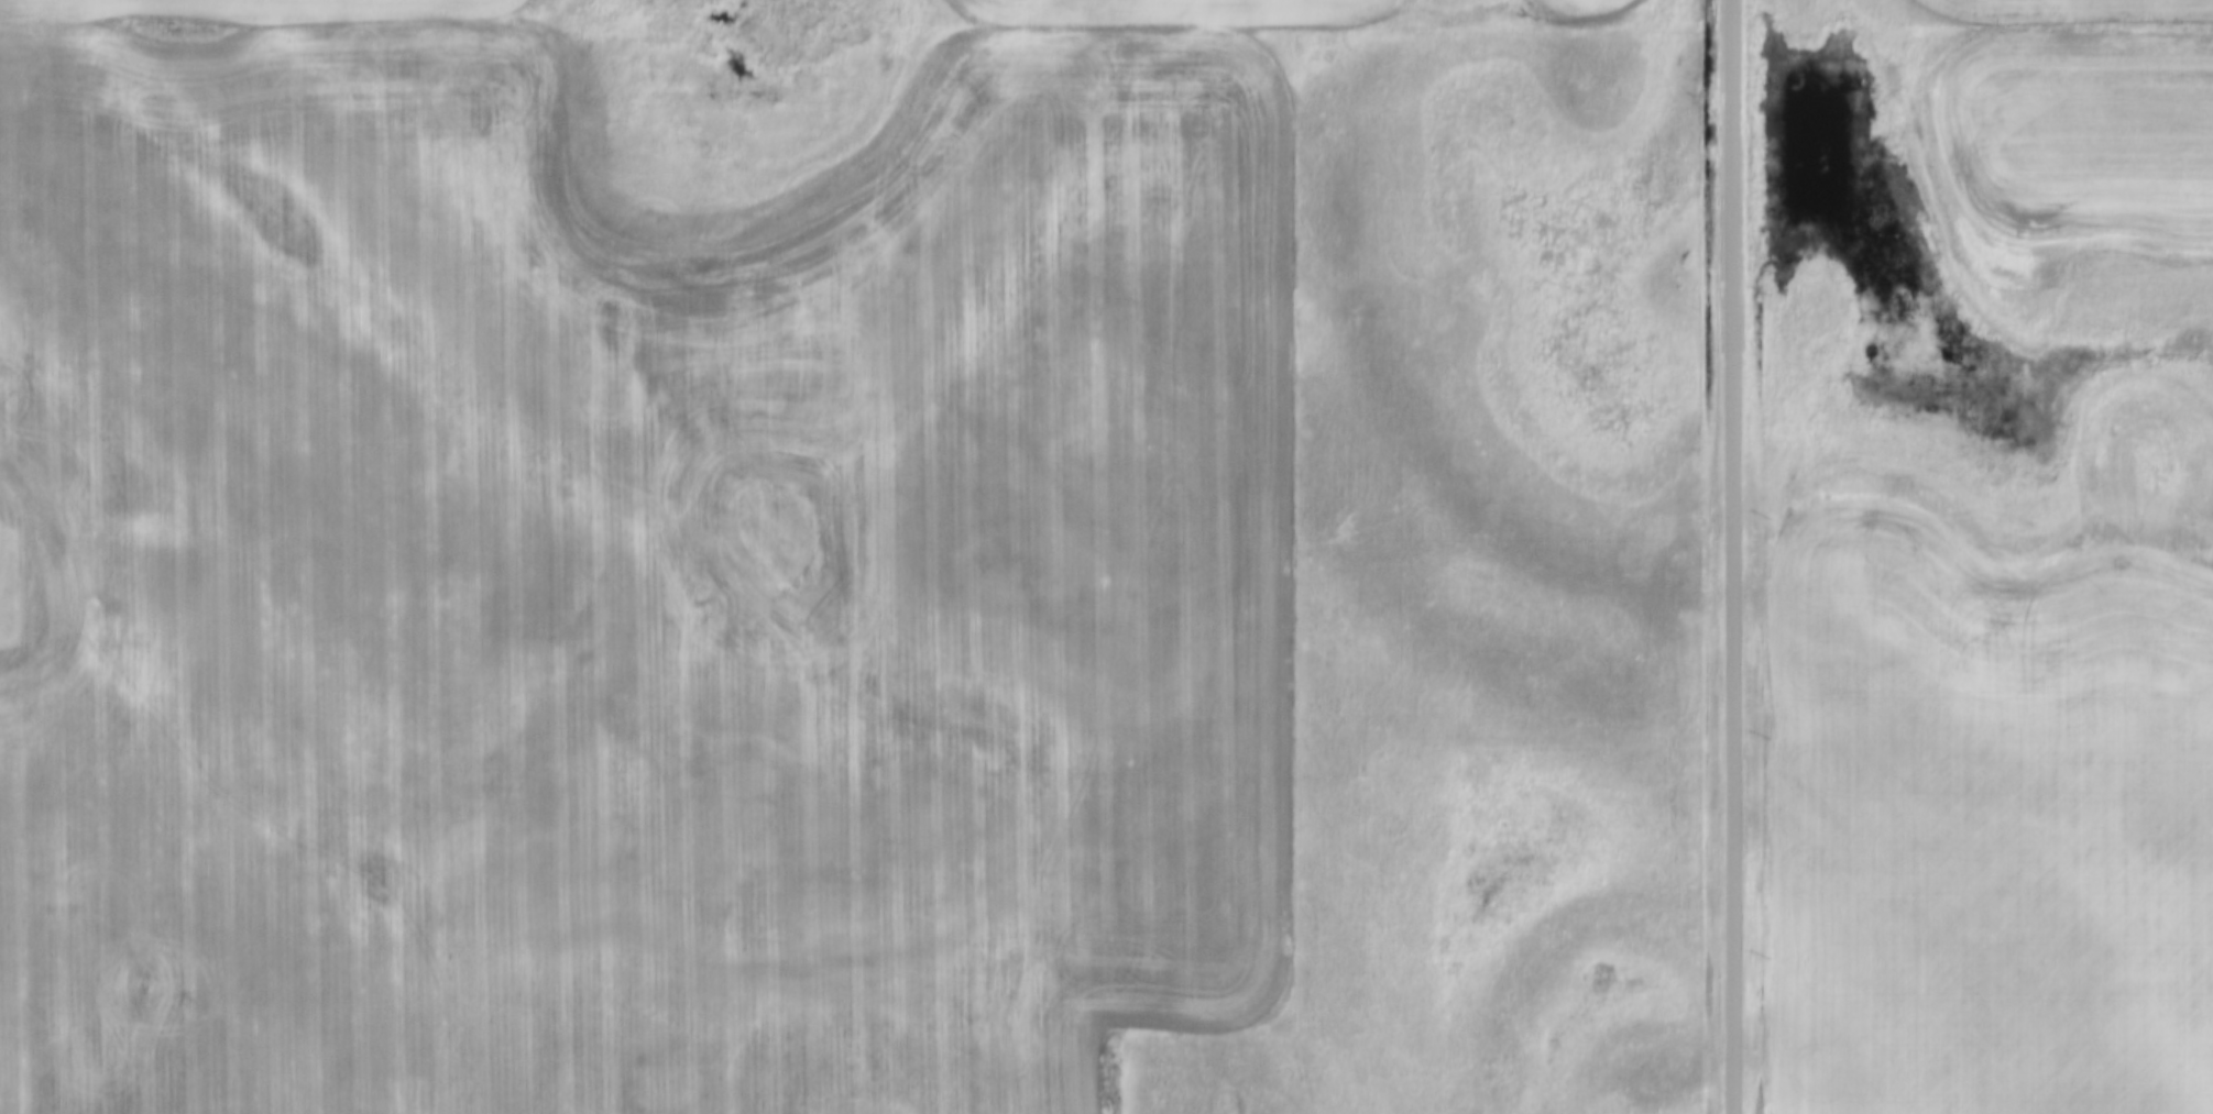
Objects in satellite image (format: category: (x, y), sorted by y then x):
road: (1732, 556)

